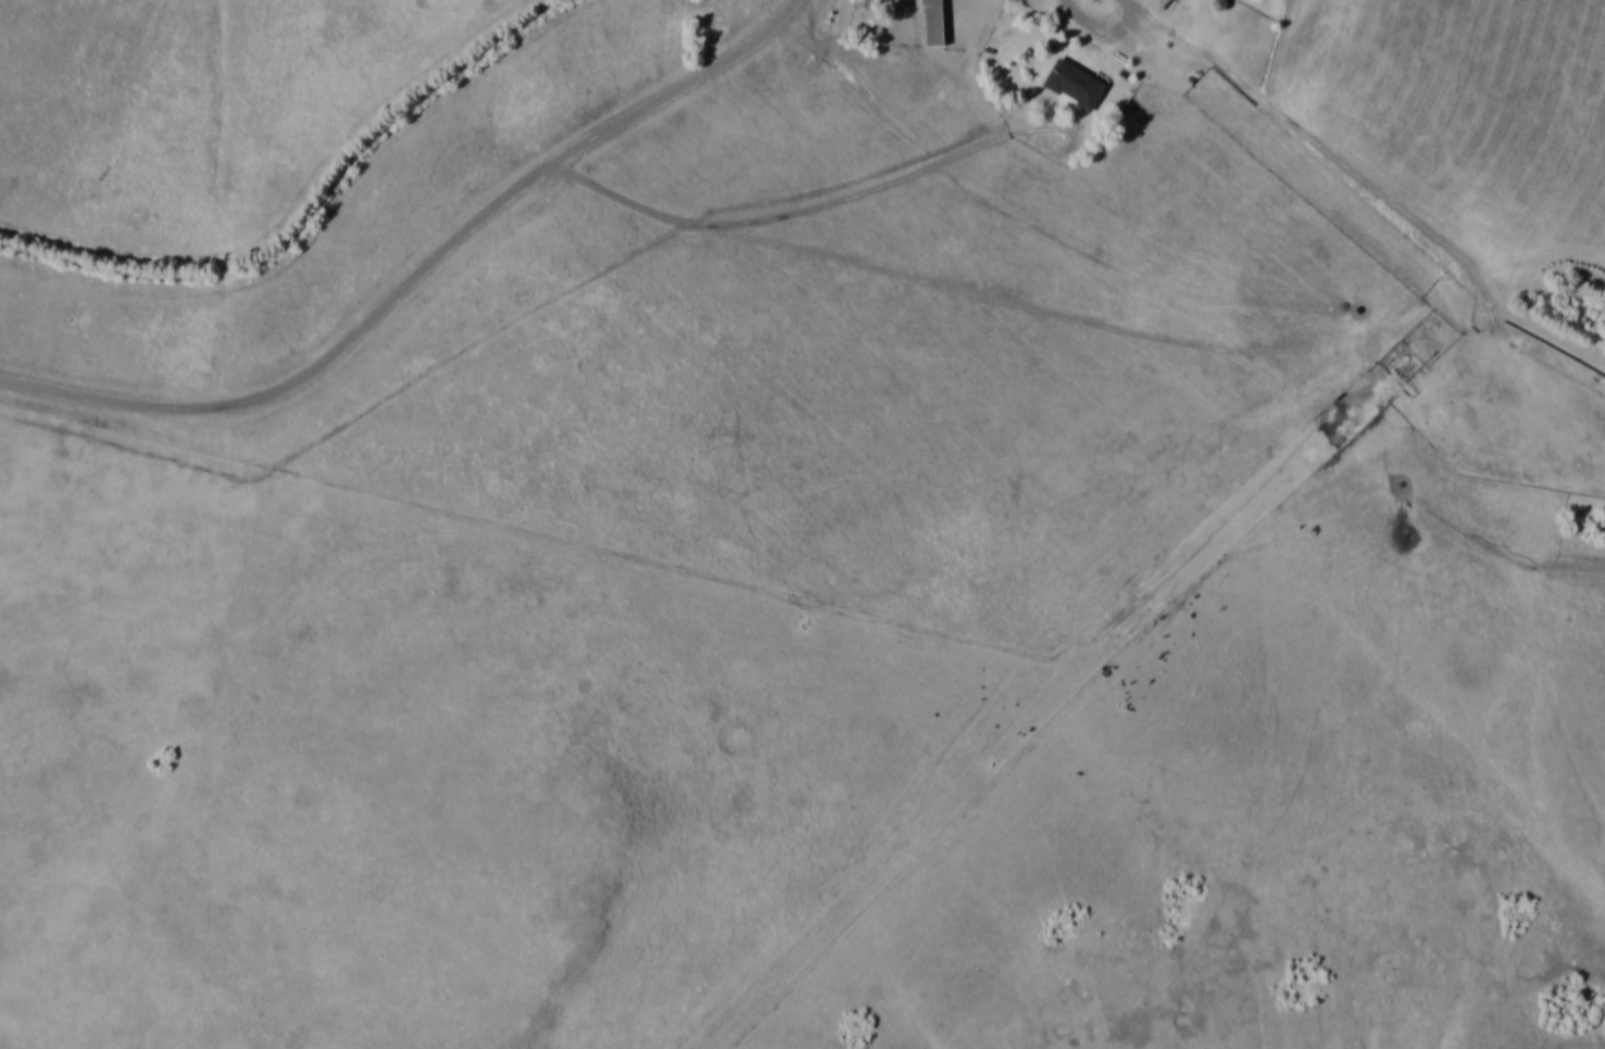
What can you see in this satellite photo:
road: (1133, 3)
building: (1156, 3)
building: (932, 22)
road: (1105, 29)
building: (1071, 84)
road: (1371, 185)
road: (780, 216)
road: (421, 273)
road: (1016, 298)

